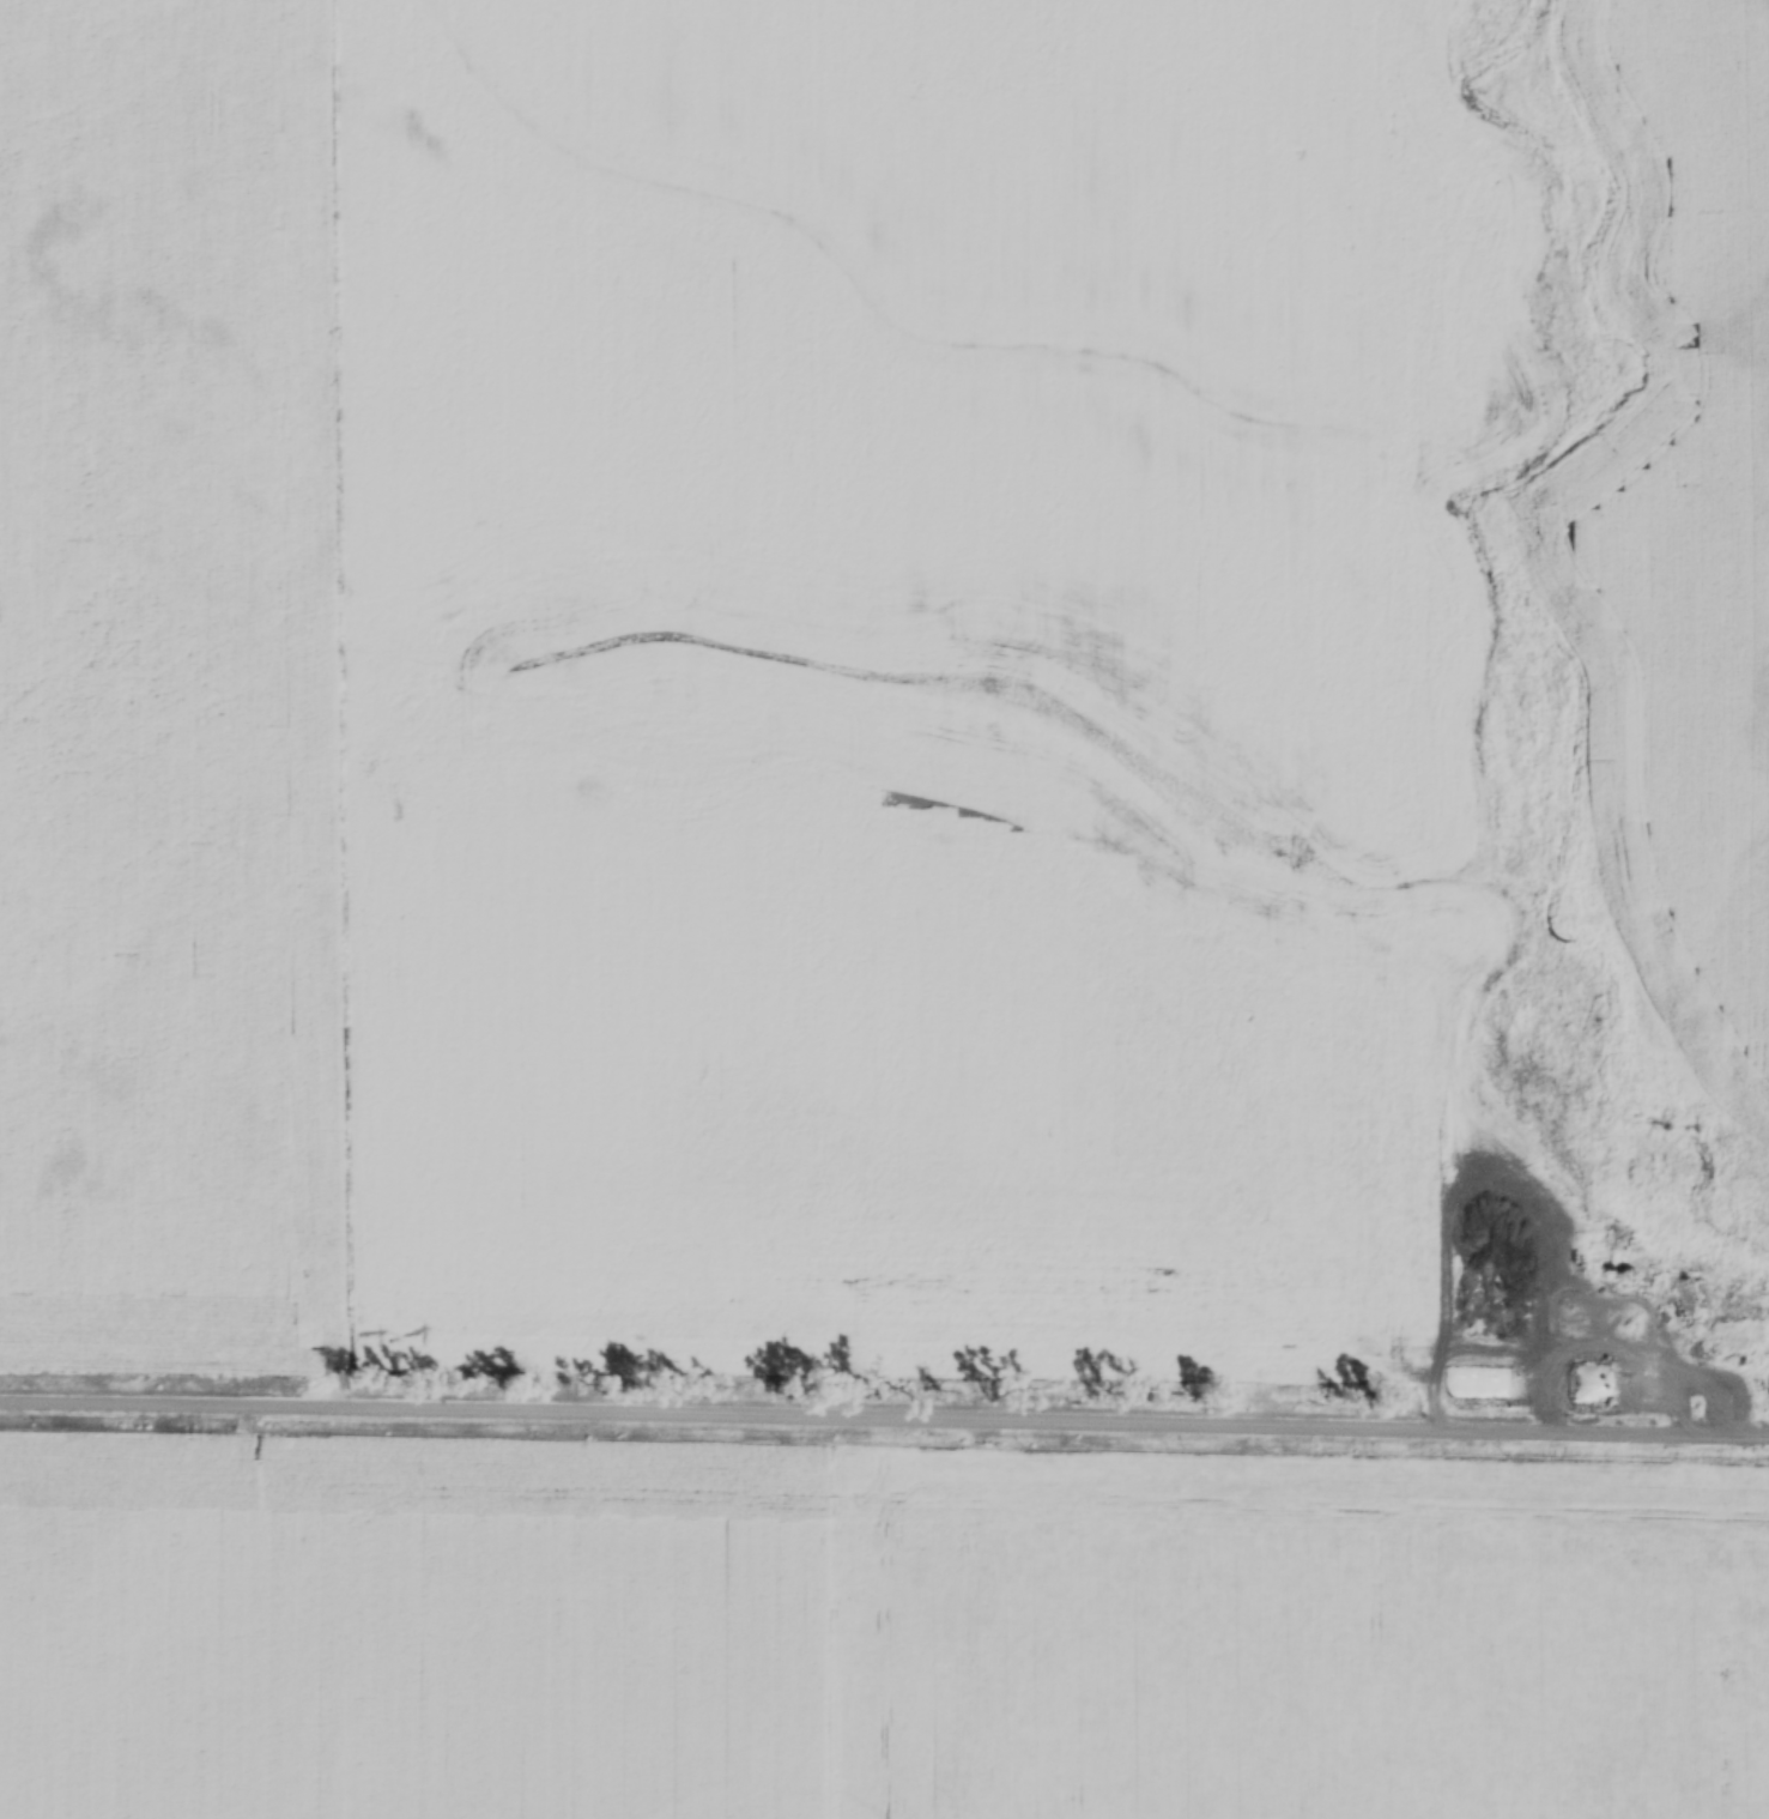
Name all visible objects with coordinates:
road: (884, 1418)

